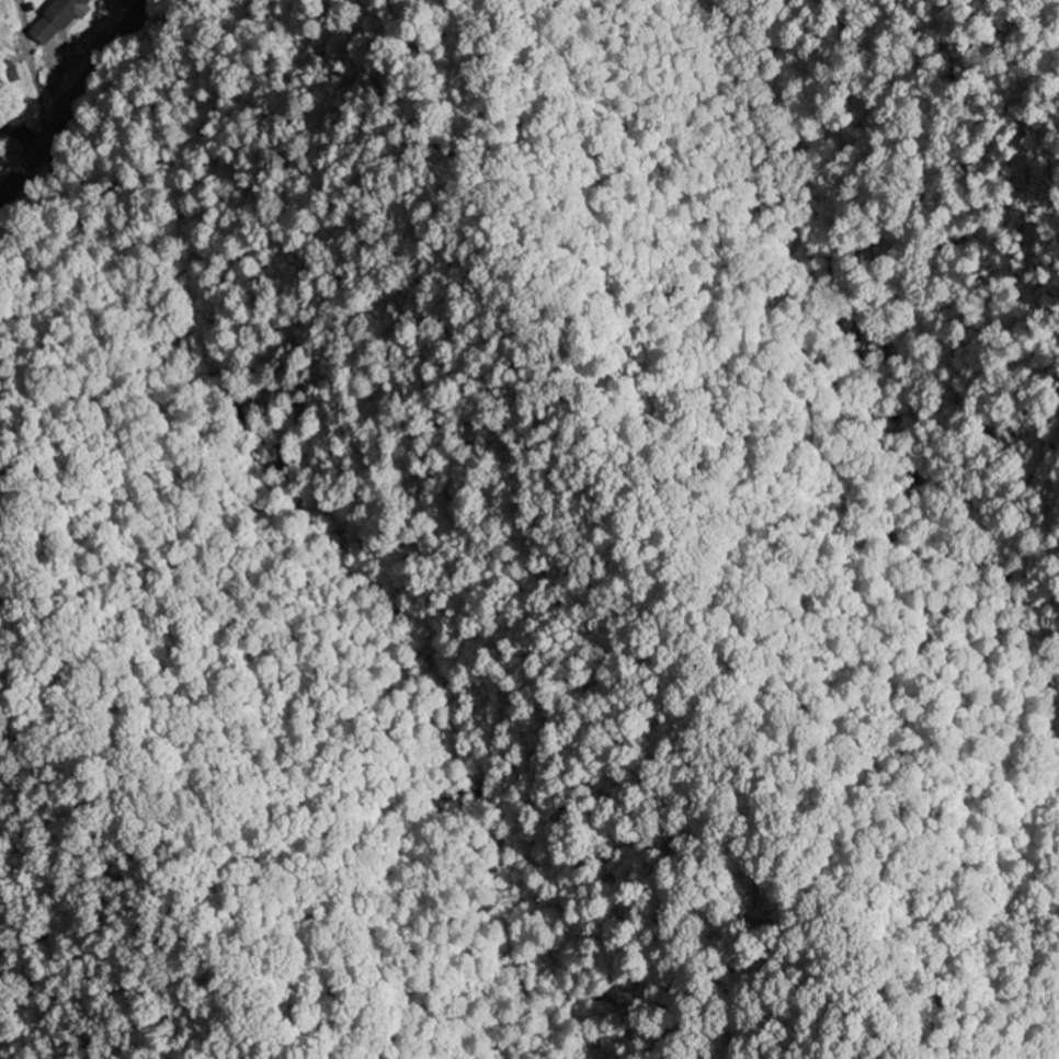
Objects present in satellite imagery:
building: (58, 20)
road: (72, 96)

